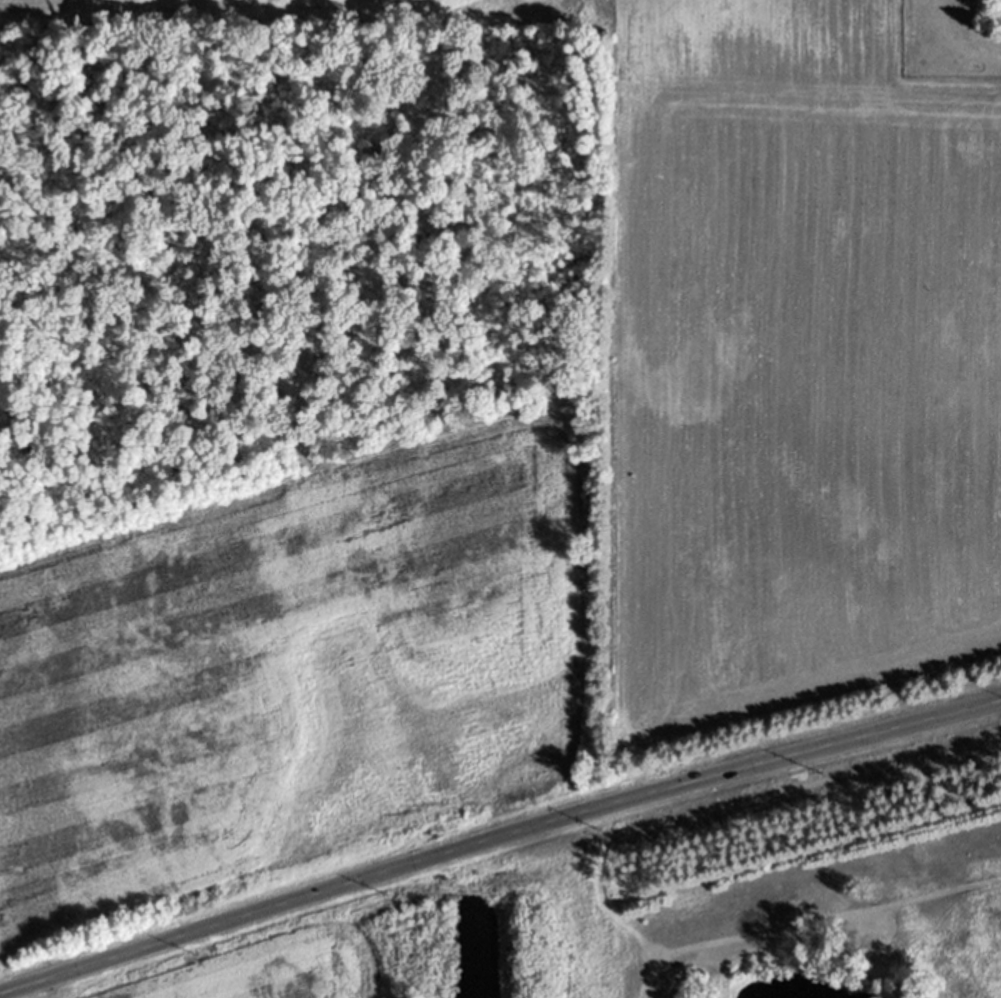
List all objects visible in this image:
road: (497, 839)
airport: (623, 900)
road: (390, 933)
airport runway: (650, 964)

